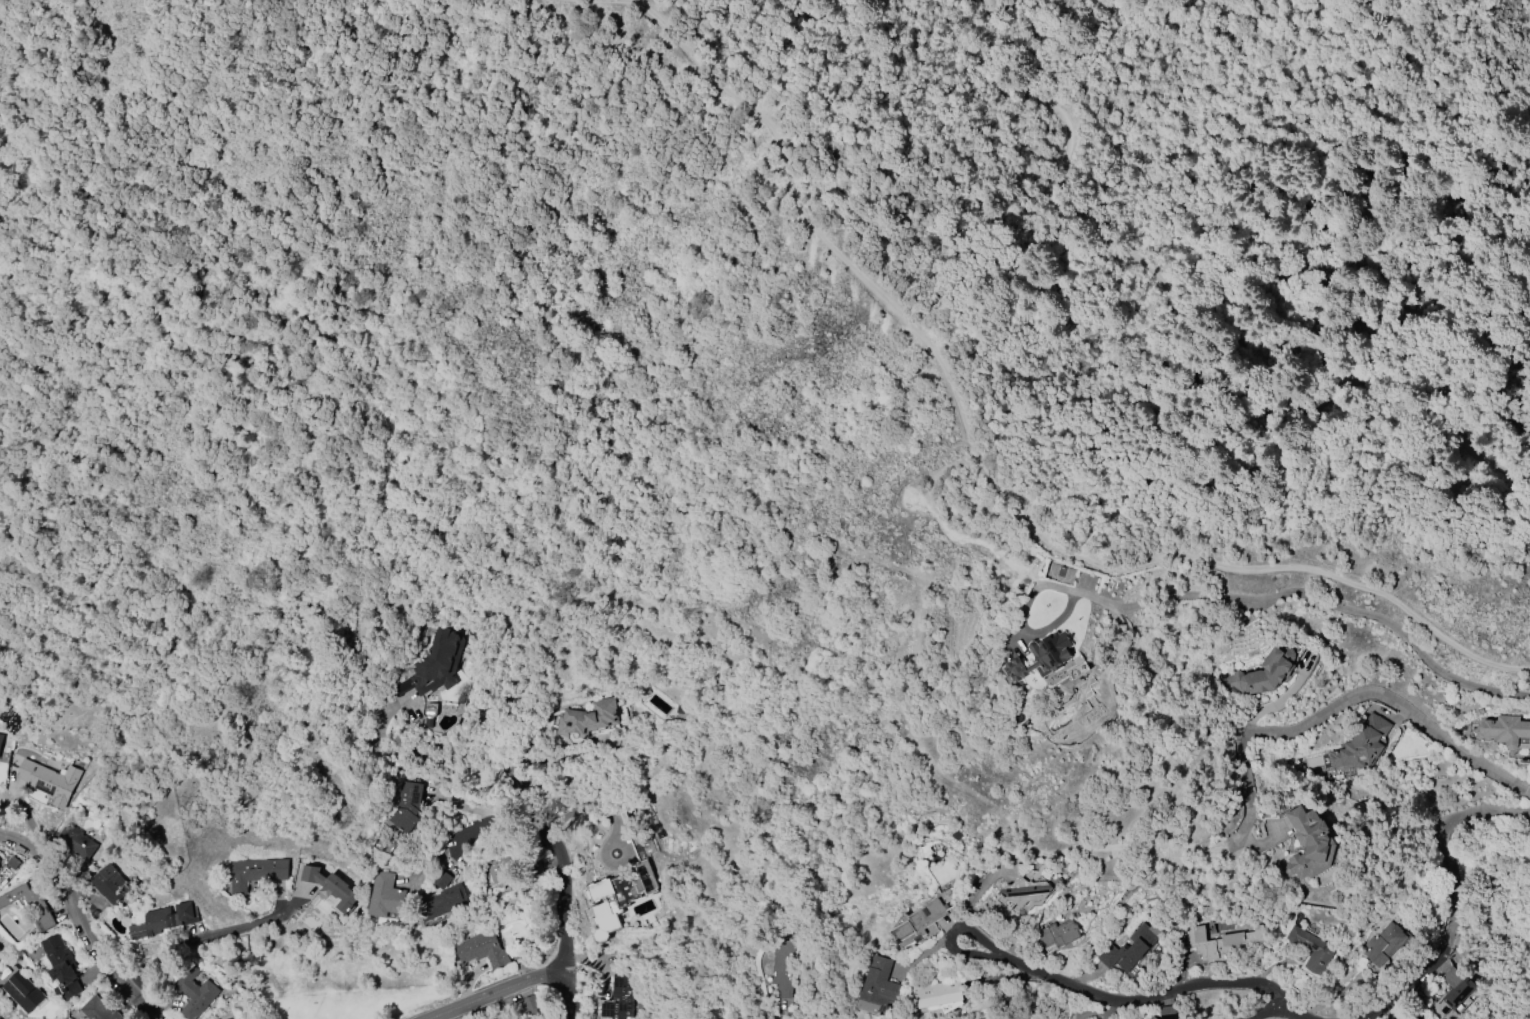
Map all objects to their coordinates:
road: (1176, 325)
road: (988, 466)
road: (1303, 594)
building: (1043, 656)
building: (438, 662)
building: (1263, 673)
road: (1393, 704)
building: (587, 720)
building: (1507, 731)
building: (1, 740)
building: (1361, 744)
building: (50, 781)
road: (1249, 793)
building: (407, 805)
road: (490, 817)
building: (76, 842)
building: (1309, 844)
road: (554, 850)
building: (507, 863)
building: (256, 872)
building: (443, 877)
building: (110, 884)
building: (330, 889)
building: (1026, 891)
building: (386, 894)
road: (1452, 894)
building: (619, 897)
building: (442, 902)
building: (30, 904)
road: (82, 920)
building: (163, 920)
building: (922, 921)
building: (1059, 933)
road: (200, 938)
building: (1218, 940)
building: (1384, 944)
building: (1131, 947)
building: (482, 949)
building: (1311, 949)
building: (61, 963)
building: (782, 971)
building: (879, 986)
building: (23, 991)
road: (498, 991)
road: (569, 991)
building: (194, 992)
building: (1452, 992)
building: (936, 994)
building: (620, 998)
road: (1278, 1003)
building: (530, 1004)
road: (1121, 1006)
building: (98, 1010)
building: (1168, 1012)
building: (1409, 1016)
building: (1151, 1017)
building: (532, 1018)

